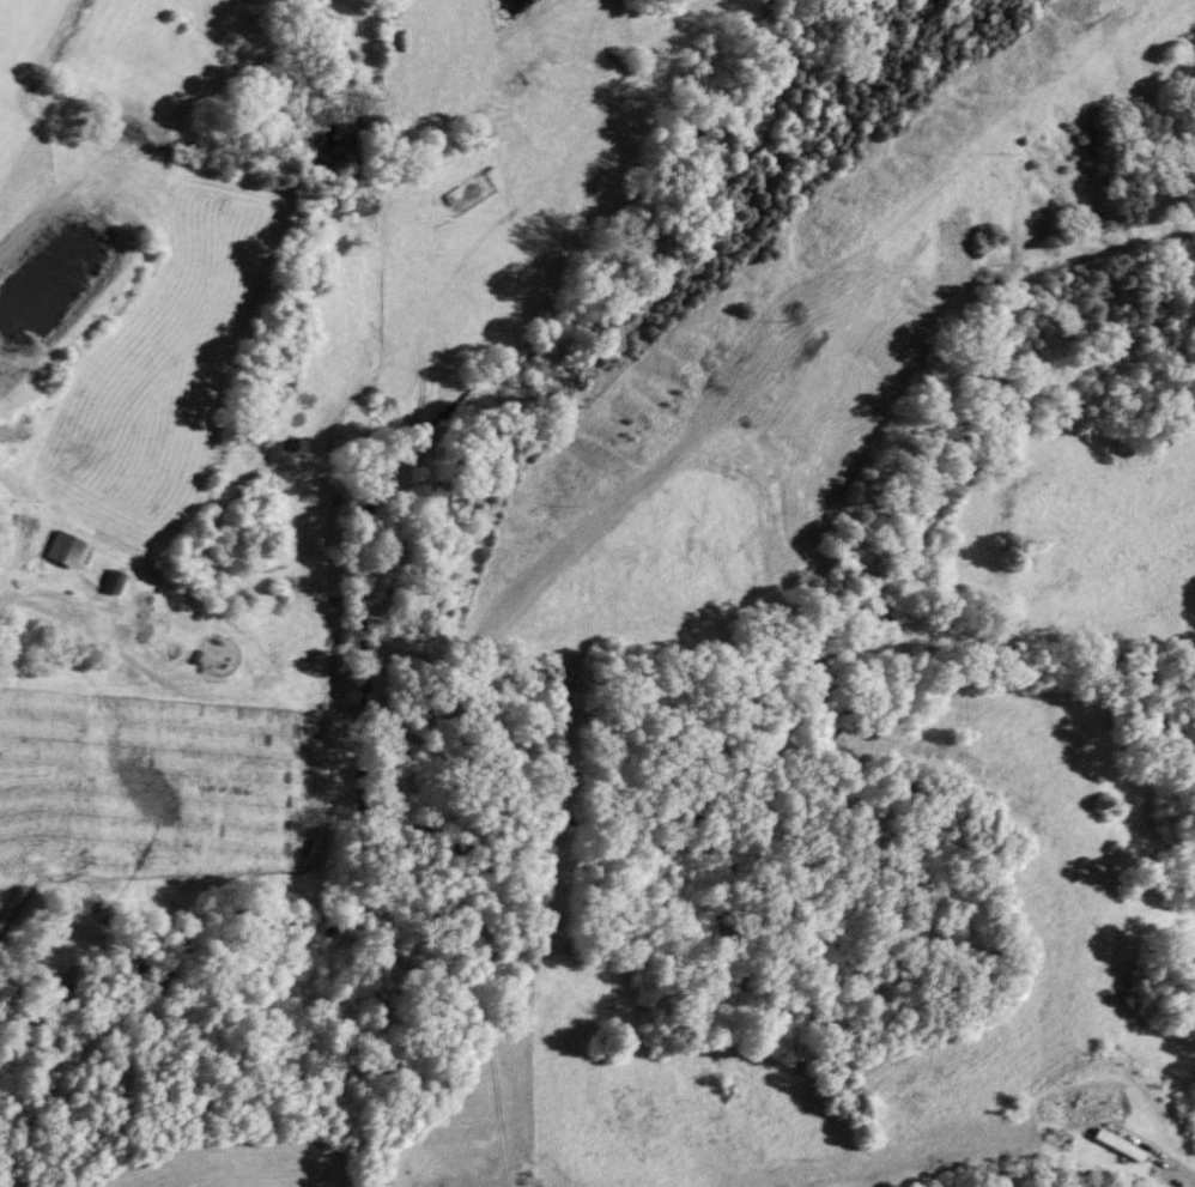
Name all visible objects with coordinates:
building: (8, 540)
building: (66, 551)
building: (113, 583)
building: (1117, 1145)

